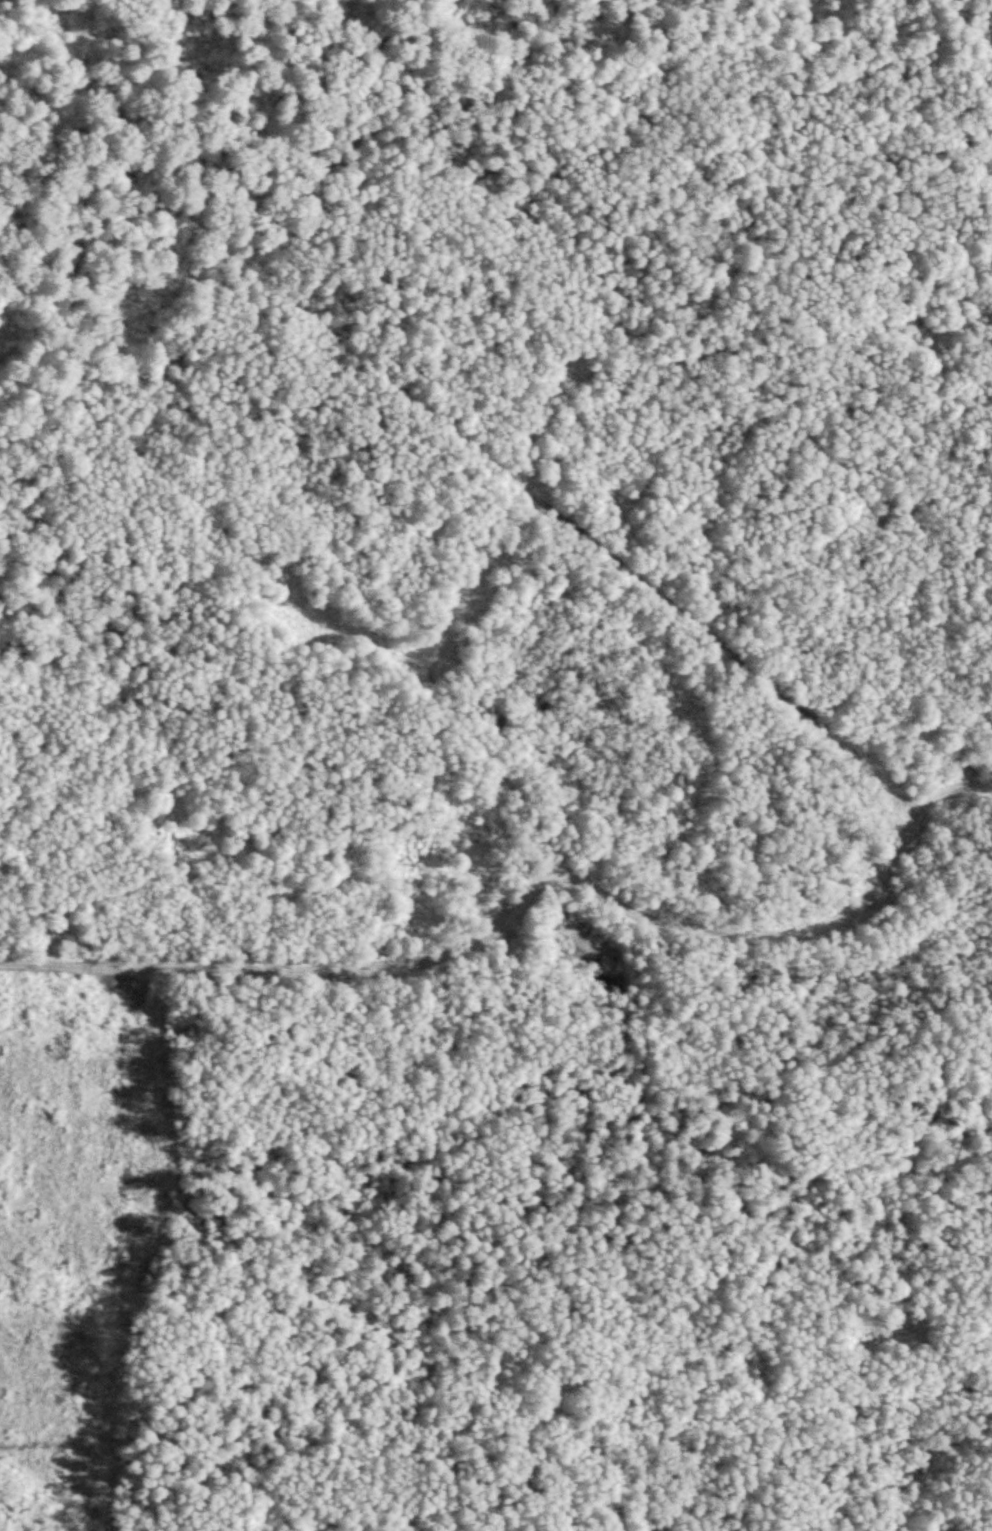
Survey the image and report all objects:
road: (976, 21)
road: (780, 866)
road: (854, 866)

